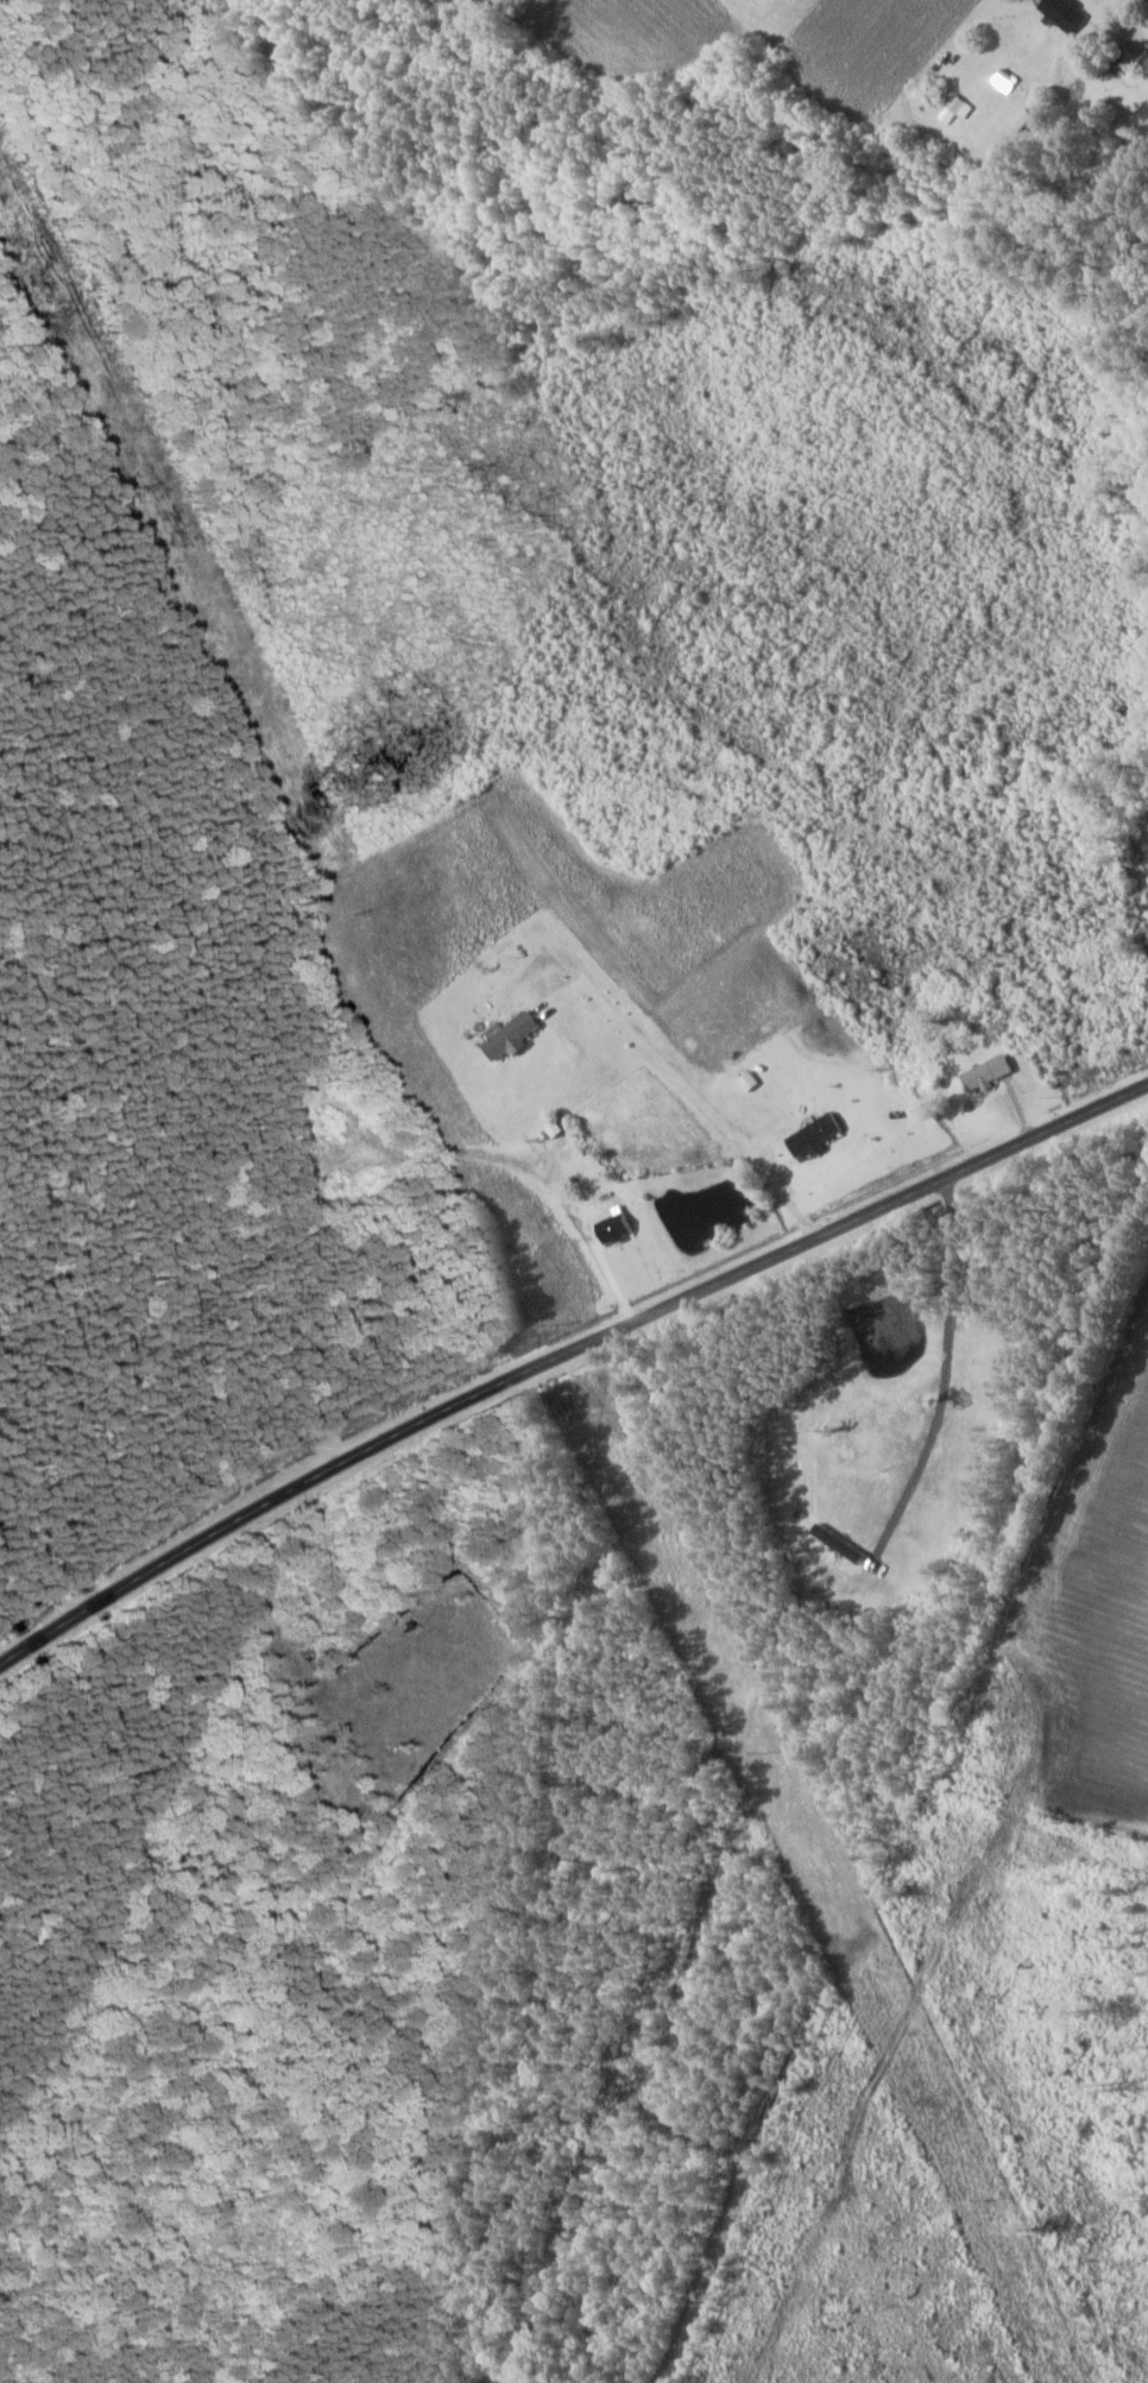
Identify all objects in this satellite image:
building: (1068, 12)
building: (1135, 53)
building: (515, 1035)
building: (991, 1072)
building: (617, 1228)
road: (562, 1353)

